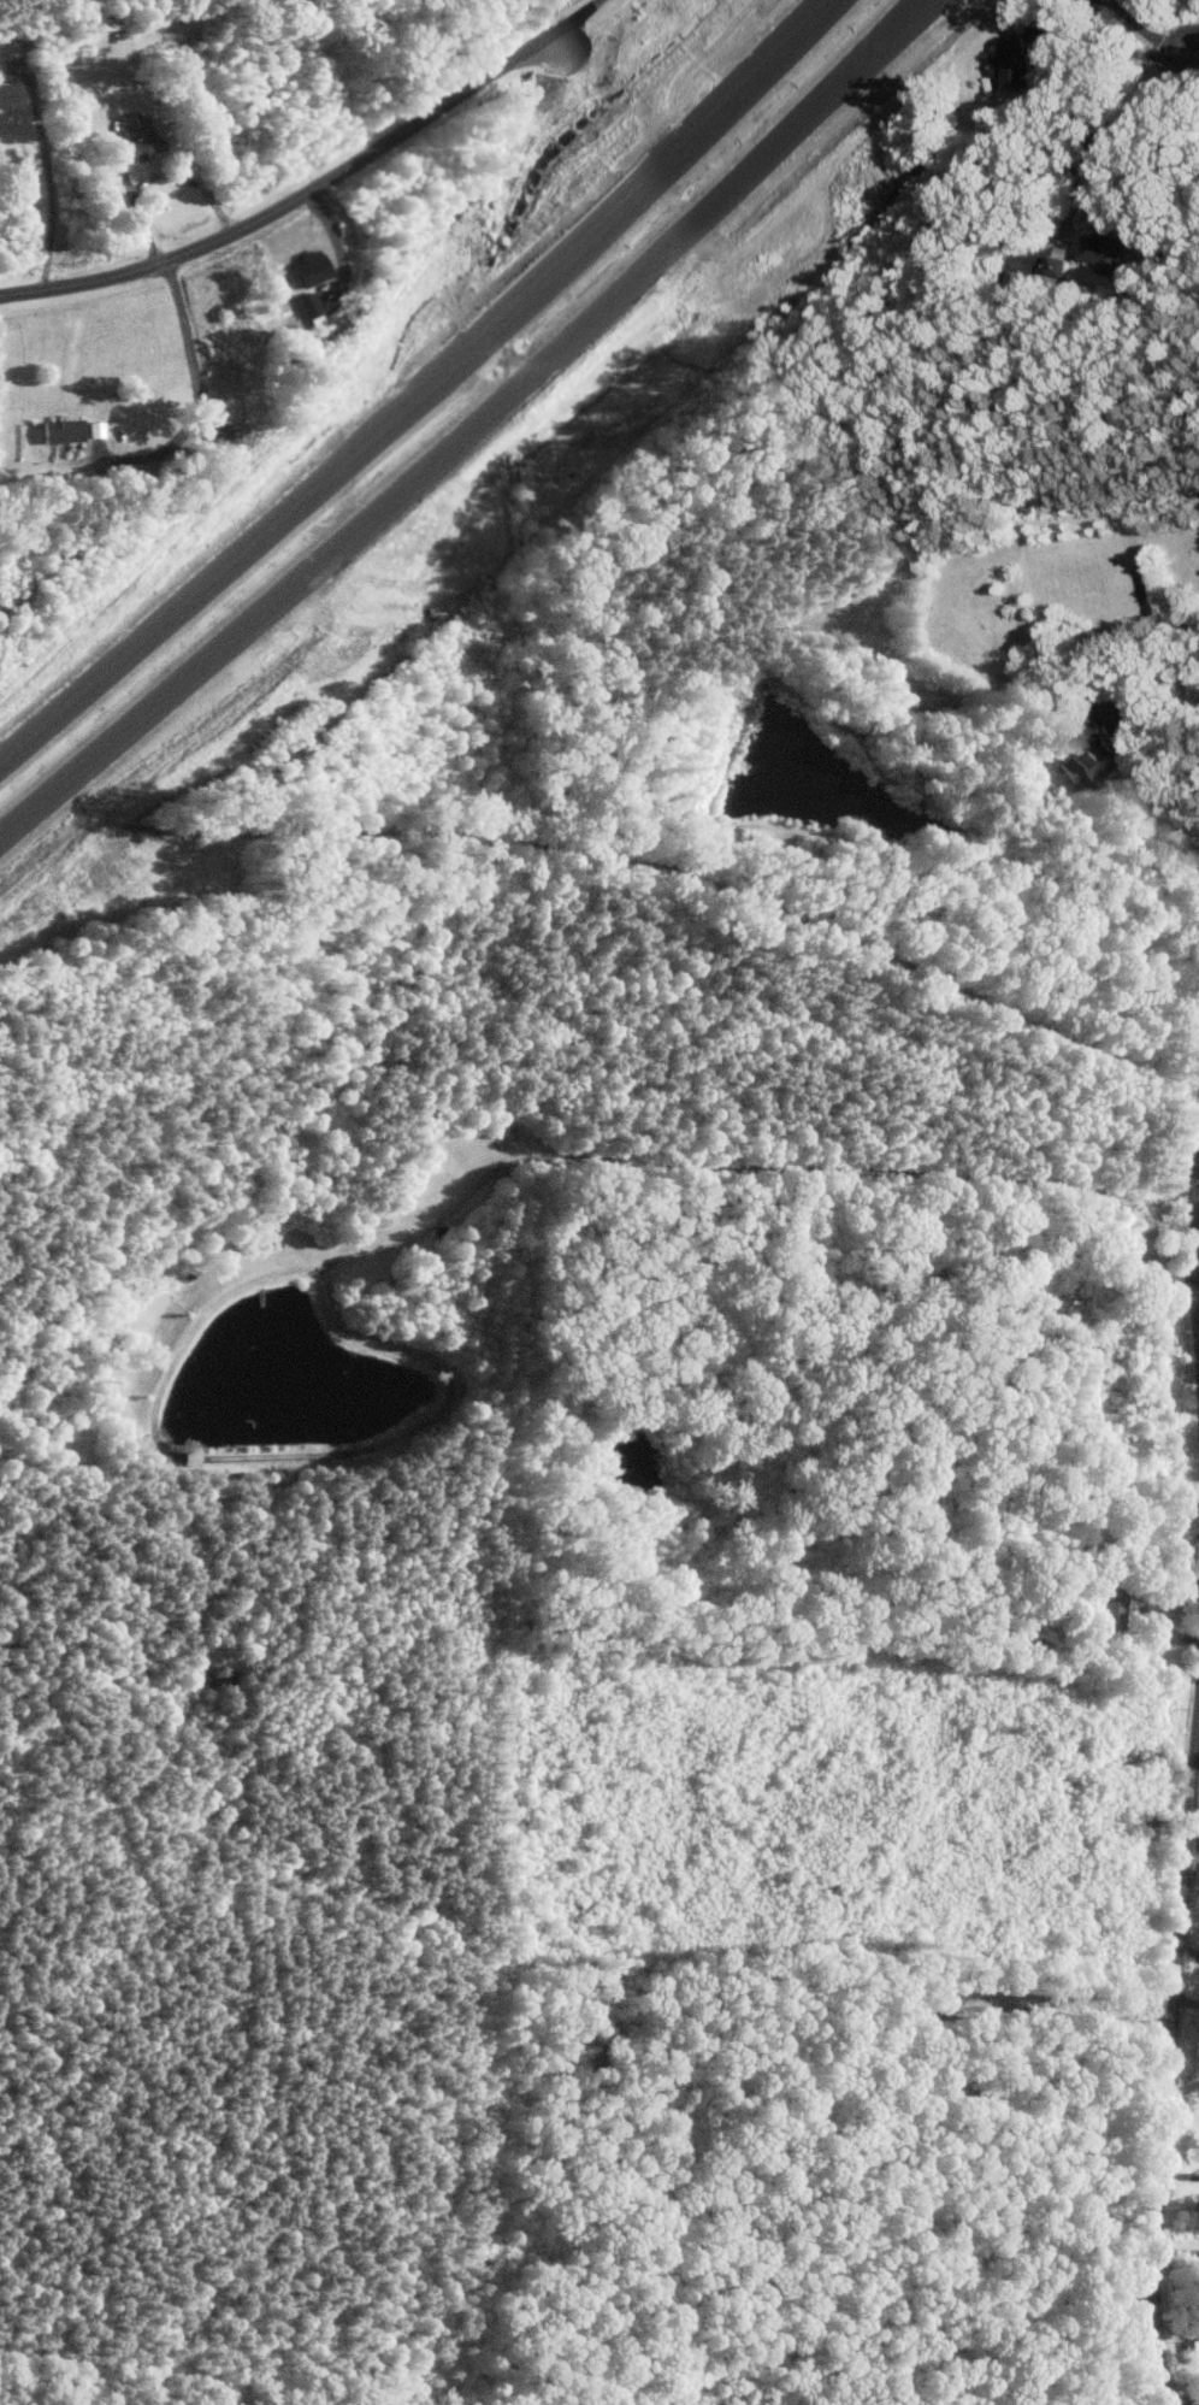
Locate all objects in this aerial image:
road: (569, 19)
road: (880, 37)
road: (1191, 45)
road: (1115, 47)
building: (1008, 64)
building: (8, 95)
building: (142, 140)
road: (1120, 143)
road: (158, 175)
road: (657, 176)
road: (48, 189)
road: (291, 200)
road: (335, 243)
building: (1101, 253)
building: (303, 270)
building: (1051, 271)
building: (308, 305)
road: (197, 393)
building: (96, 429)
road: (466, 429)
building: (61, 430)
road: (240, 561)
building: (1088, 753)
road: (1164, 801)
road: (1194, 1238)
building: (1110, 1610)
road: (1055, 2012)
road: (1170, 2062)
road: (1177, 2252)

